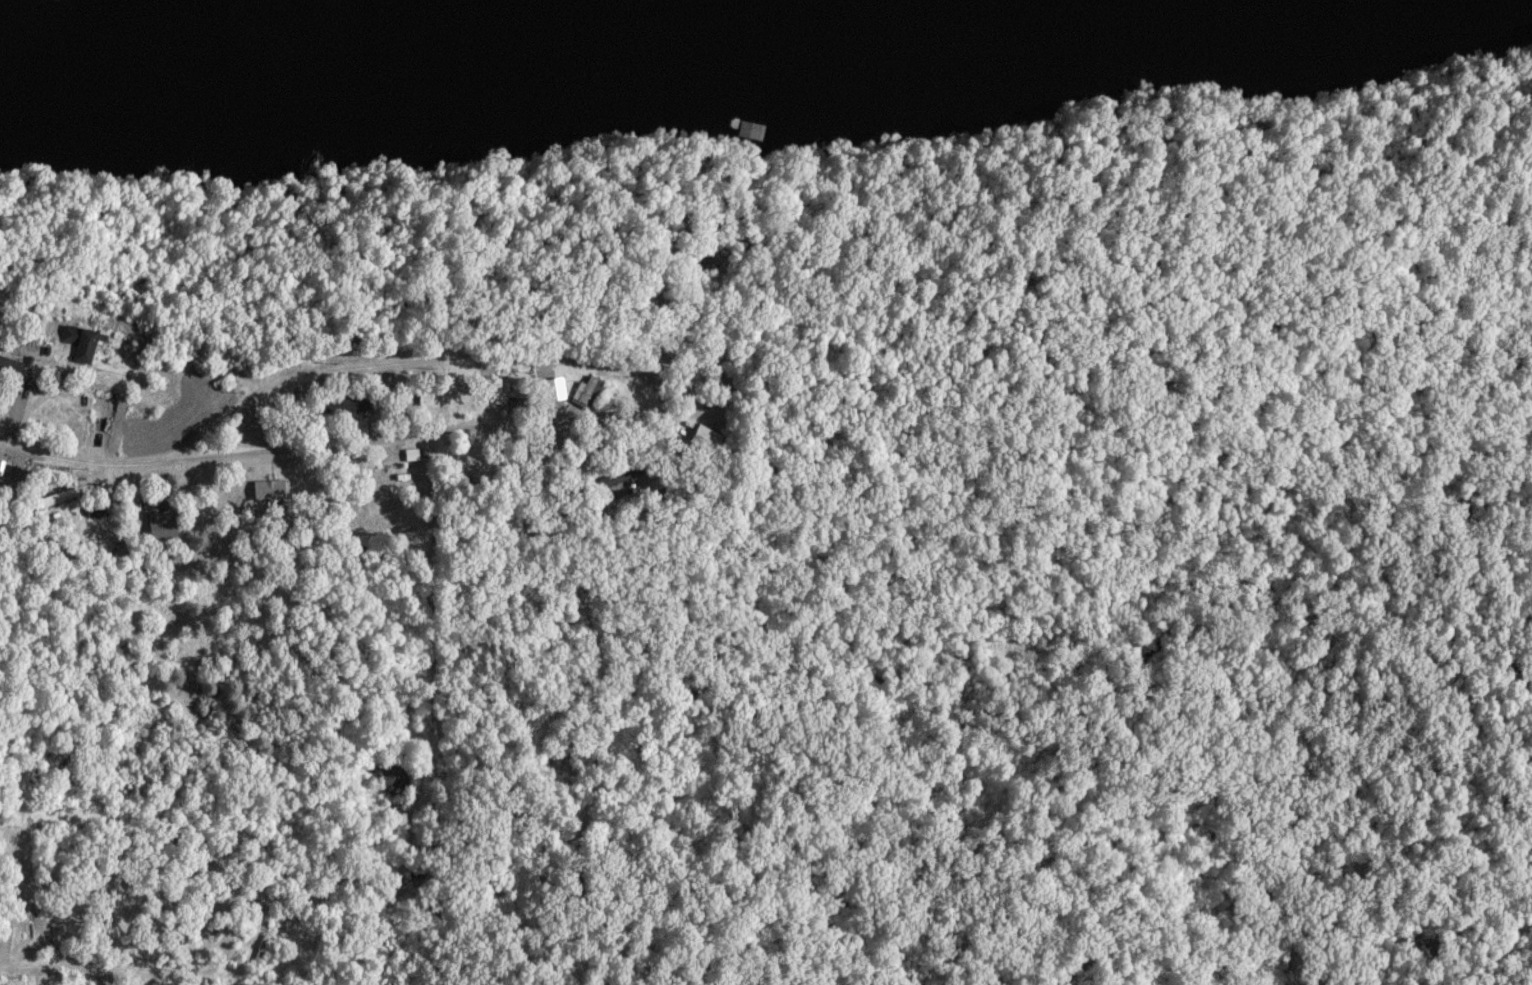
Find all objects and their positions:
river: (446, 54)
building: (81, 344)
road: (417, 364)
building: (10, 367)
building: (514, 388)
building: (589, 394)
building: (347, 406)
road: (569, 427)
building: (718, 443)
building: (415, 456)
road: (91, 462)
building: (625, 477)
building: (162, 526)
road: (160, 812)
road: (10, 890)
building: (33, 927)
building: (264, 951)
road: (144, 975)

